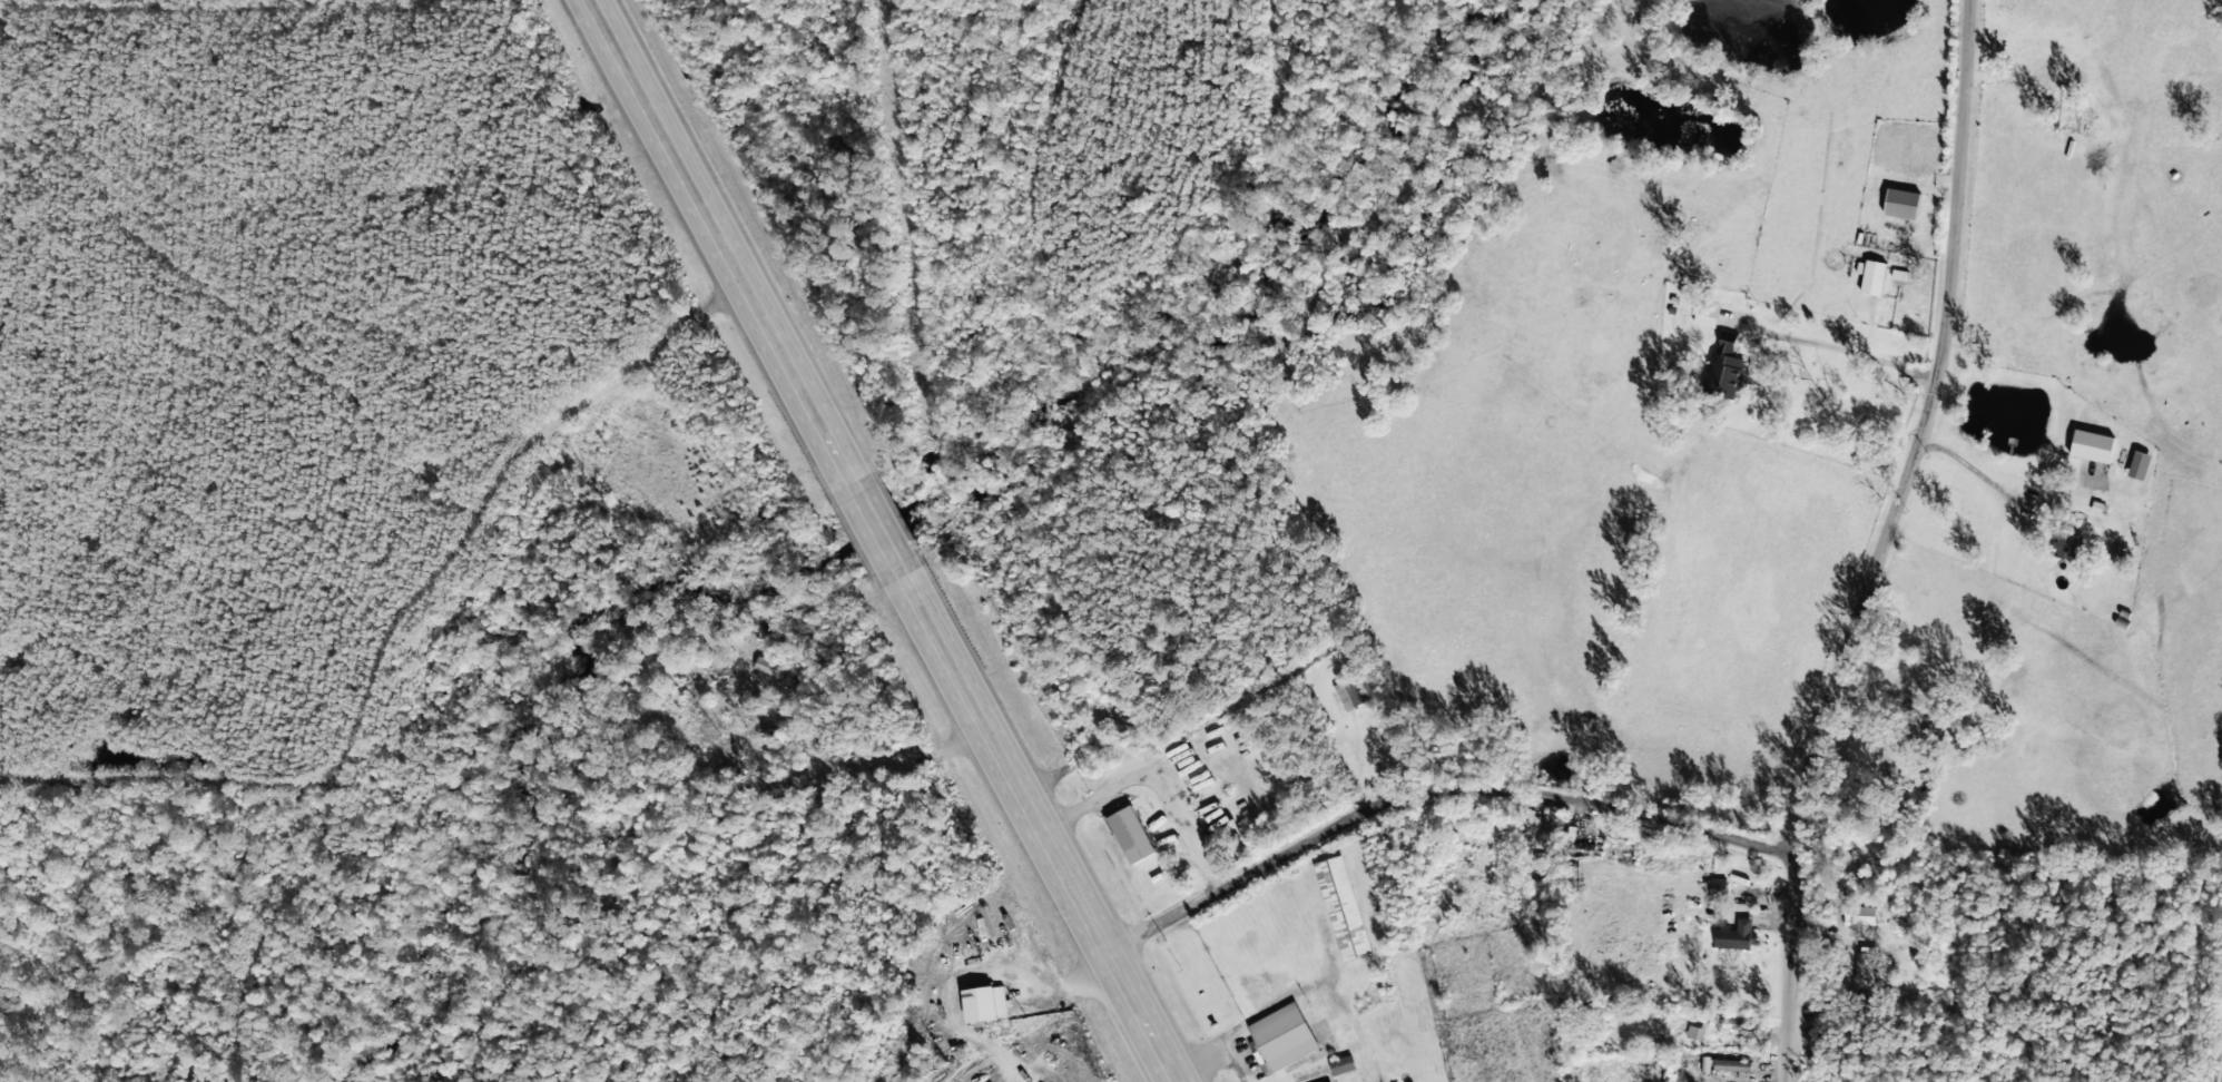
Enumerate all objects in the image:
road: (676, 161)
building: (1901, 203)
building: (1872, 276)
building: (1707, 314)
building: (1724, 363)
road: (809, 411)
building: (2092, 444)
building: (2137, 464)
road: (875, 532)
road: (1878, 541)
building: (768, 665)
building: (1349, 691)
road: (1153, 775)
road: (1434, 797)
road: (1033, 824)
building: (1131, 832)
building: (1717, 883)
building: (1340, 906)
building: (1862, 913)
building: (1734, 934)
building: (984, 1001)
building: (1694, 1031)
building: (1282, 1035)
building: (1341, 1063)
building: (1731, 1063)

